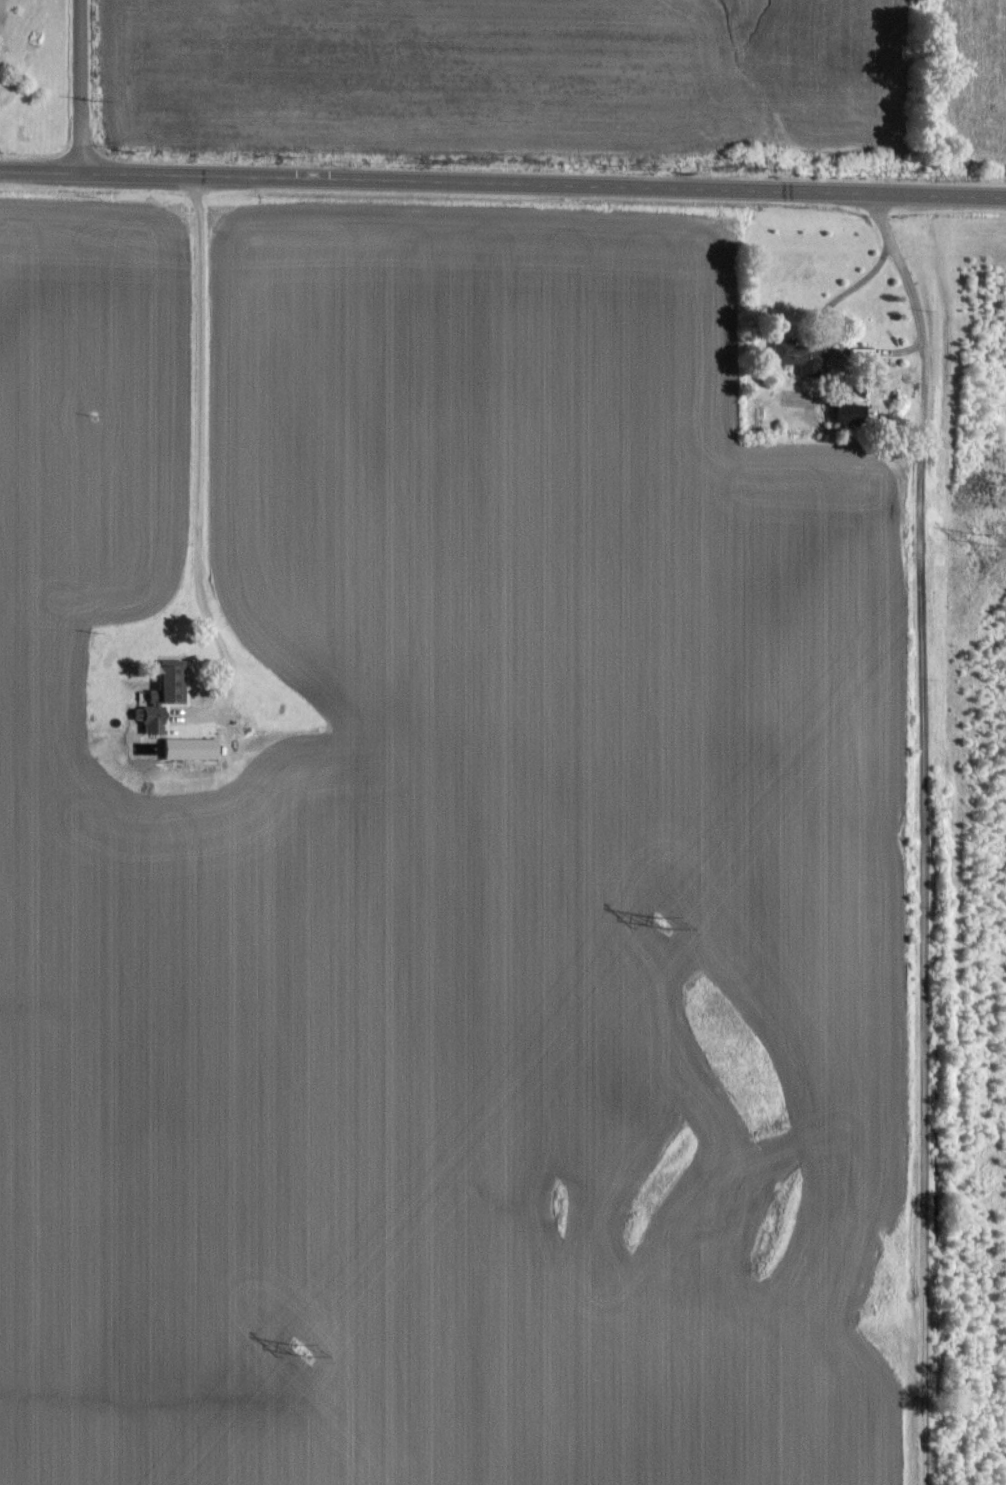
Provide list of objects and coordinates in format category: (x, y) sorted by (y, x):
road: (80, 87)
road: (502, 182)
building: (797, 356)
building: (847, 411)
road: (198, 455)
power tower: (981, 540)
building: (163, 692)
building: (188, 747)
road: (920, 834)
power tower: (660, 924)
power tower: (301, 1351)

